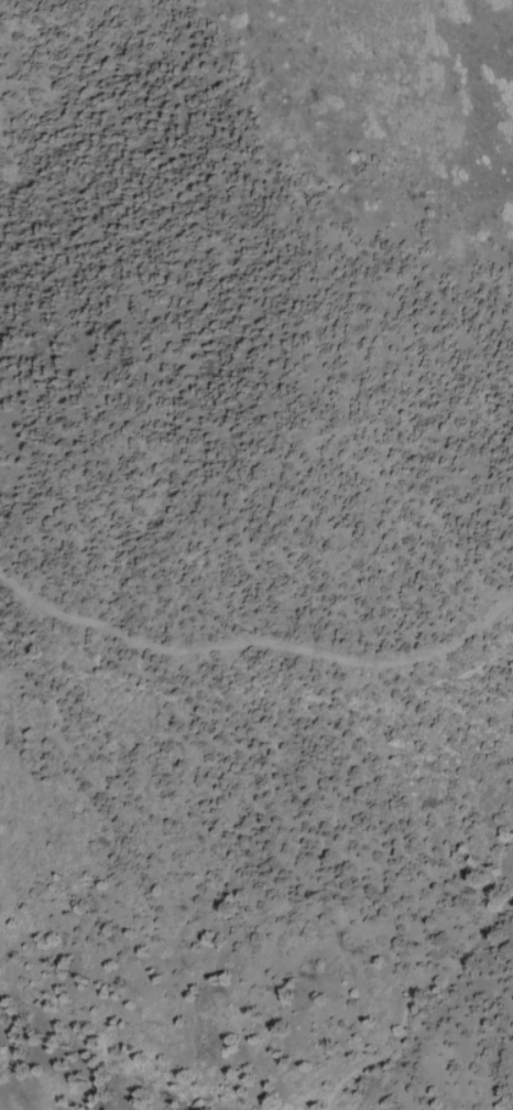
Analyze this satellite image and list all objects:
road: (258, 642)

